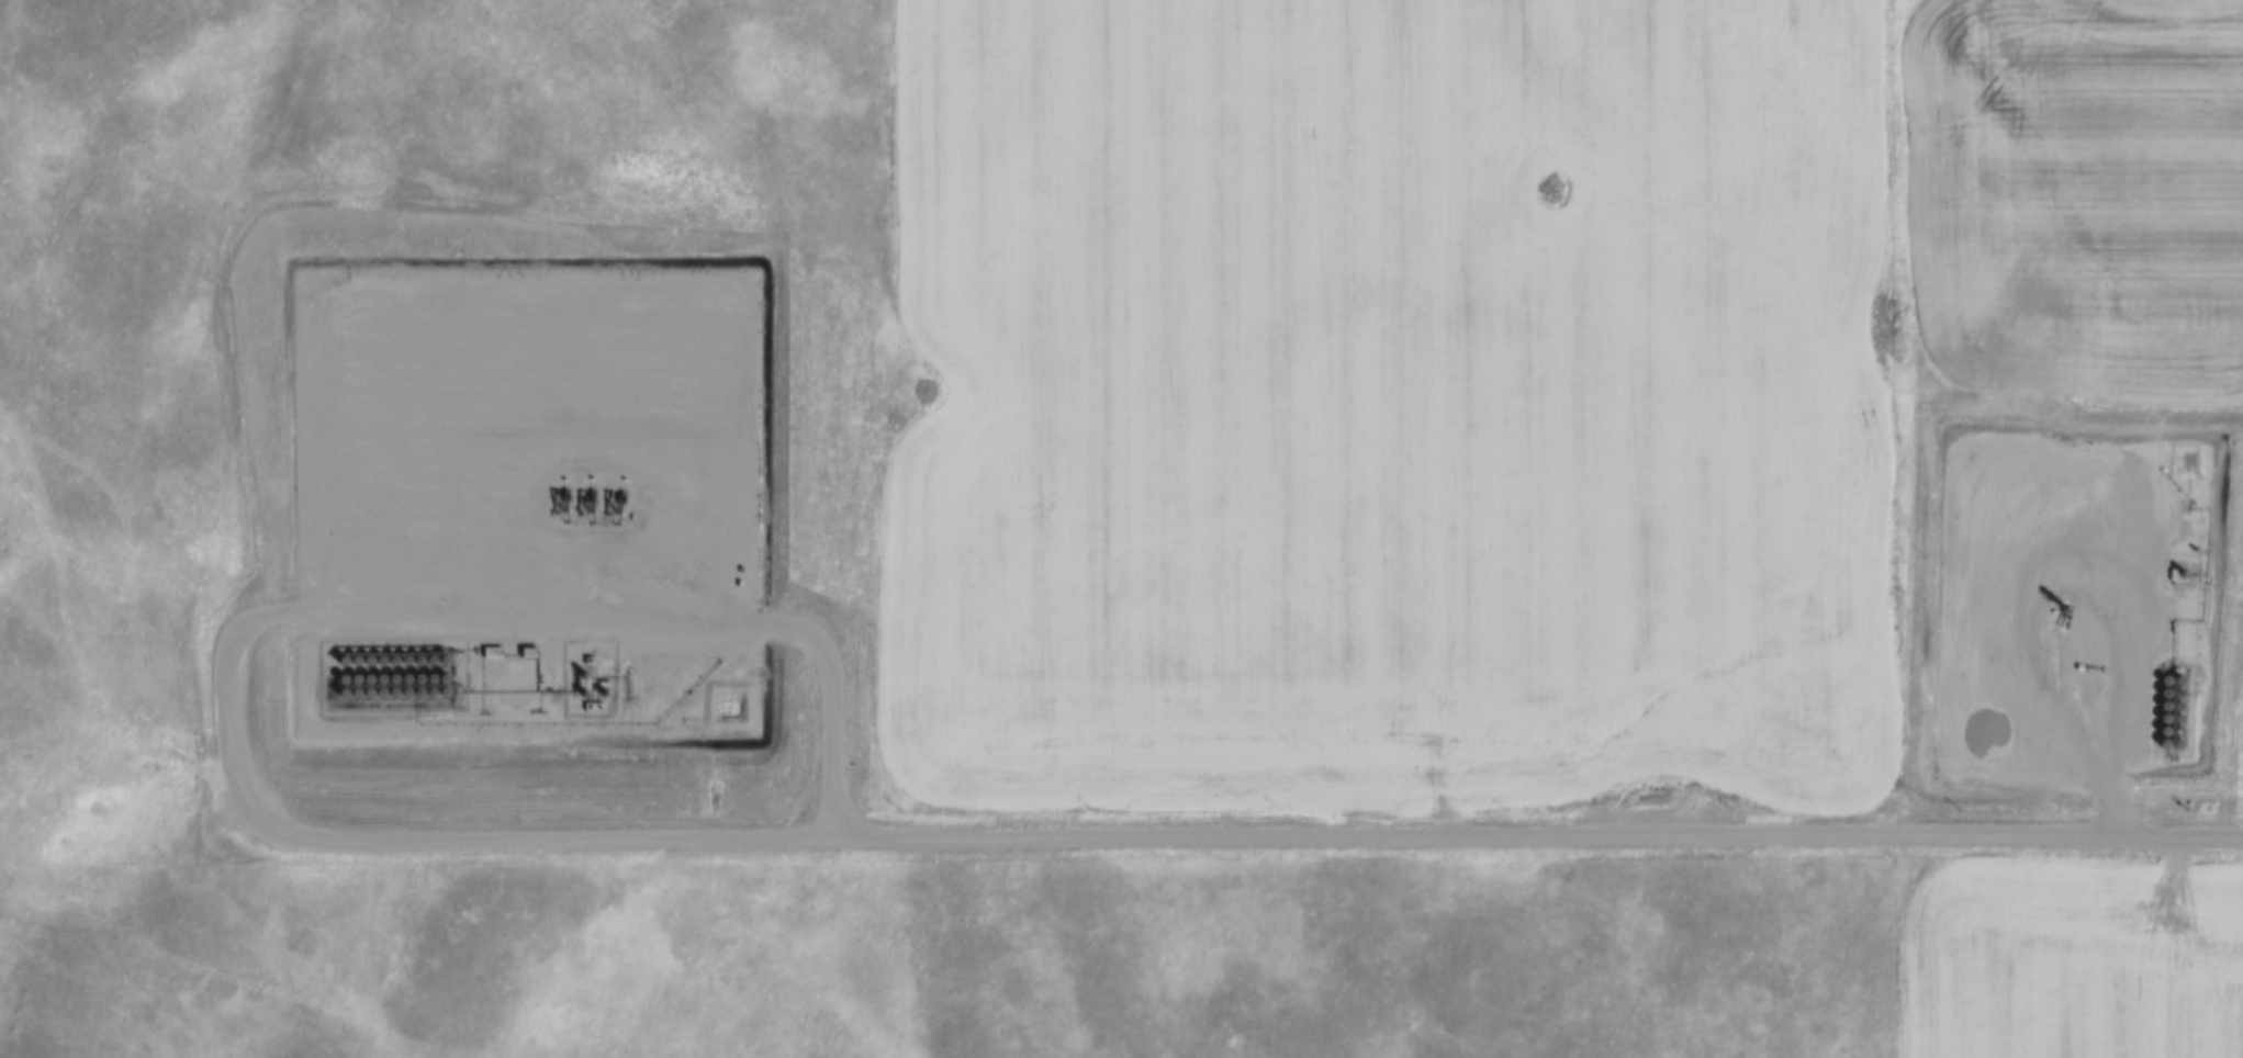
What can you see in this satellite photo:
road: (1121, 838)

